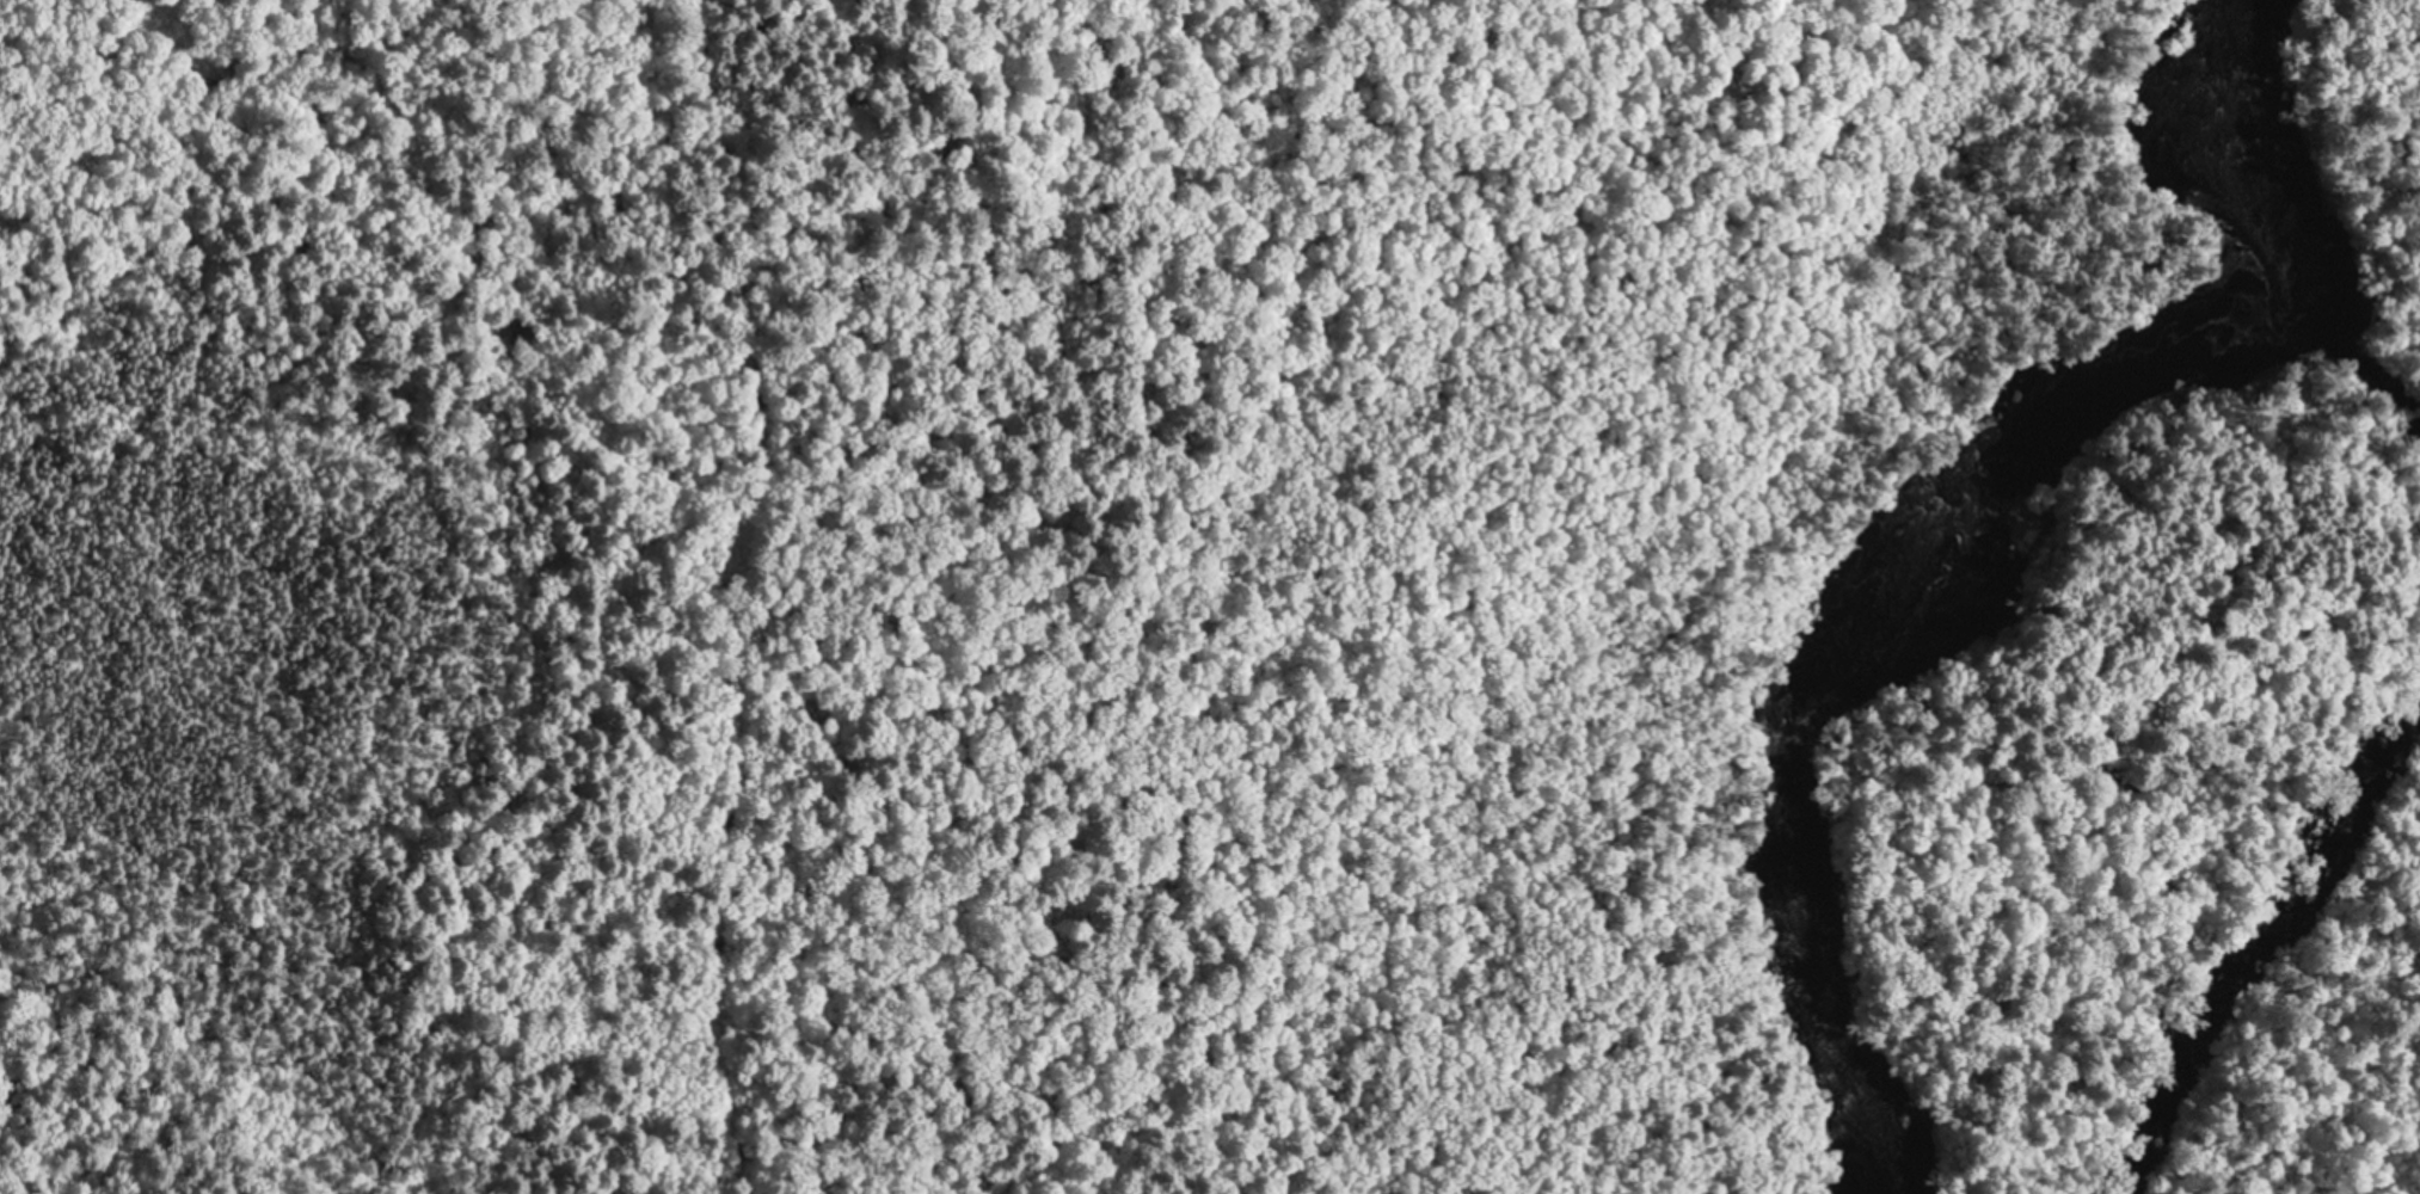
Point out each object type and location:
river: (1948, 525)

